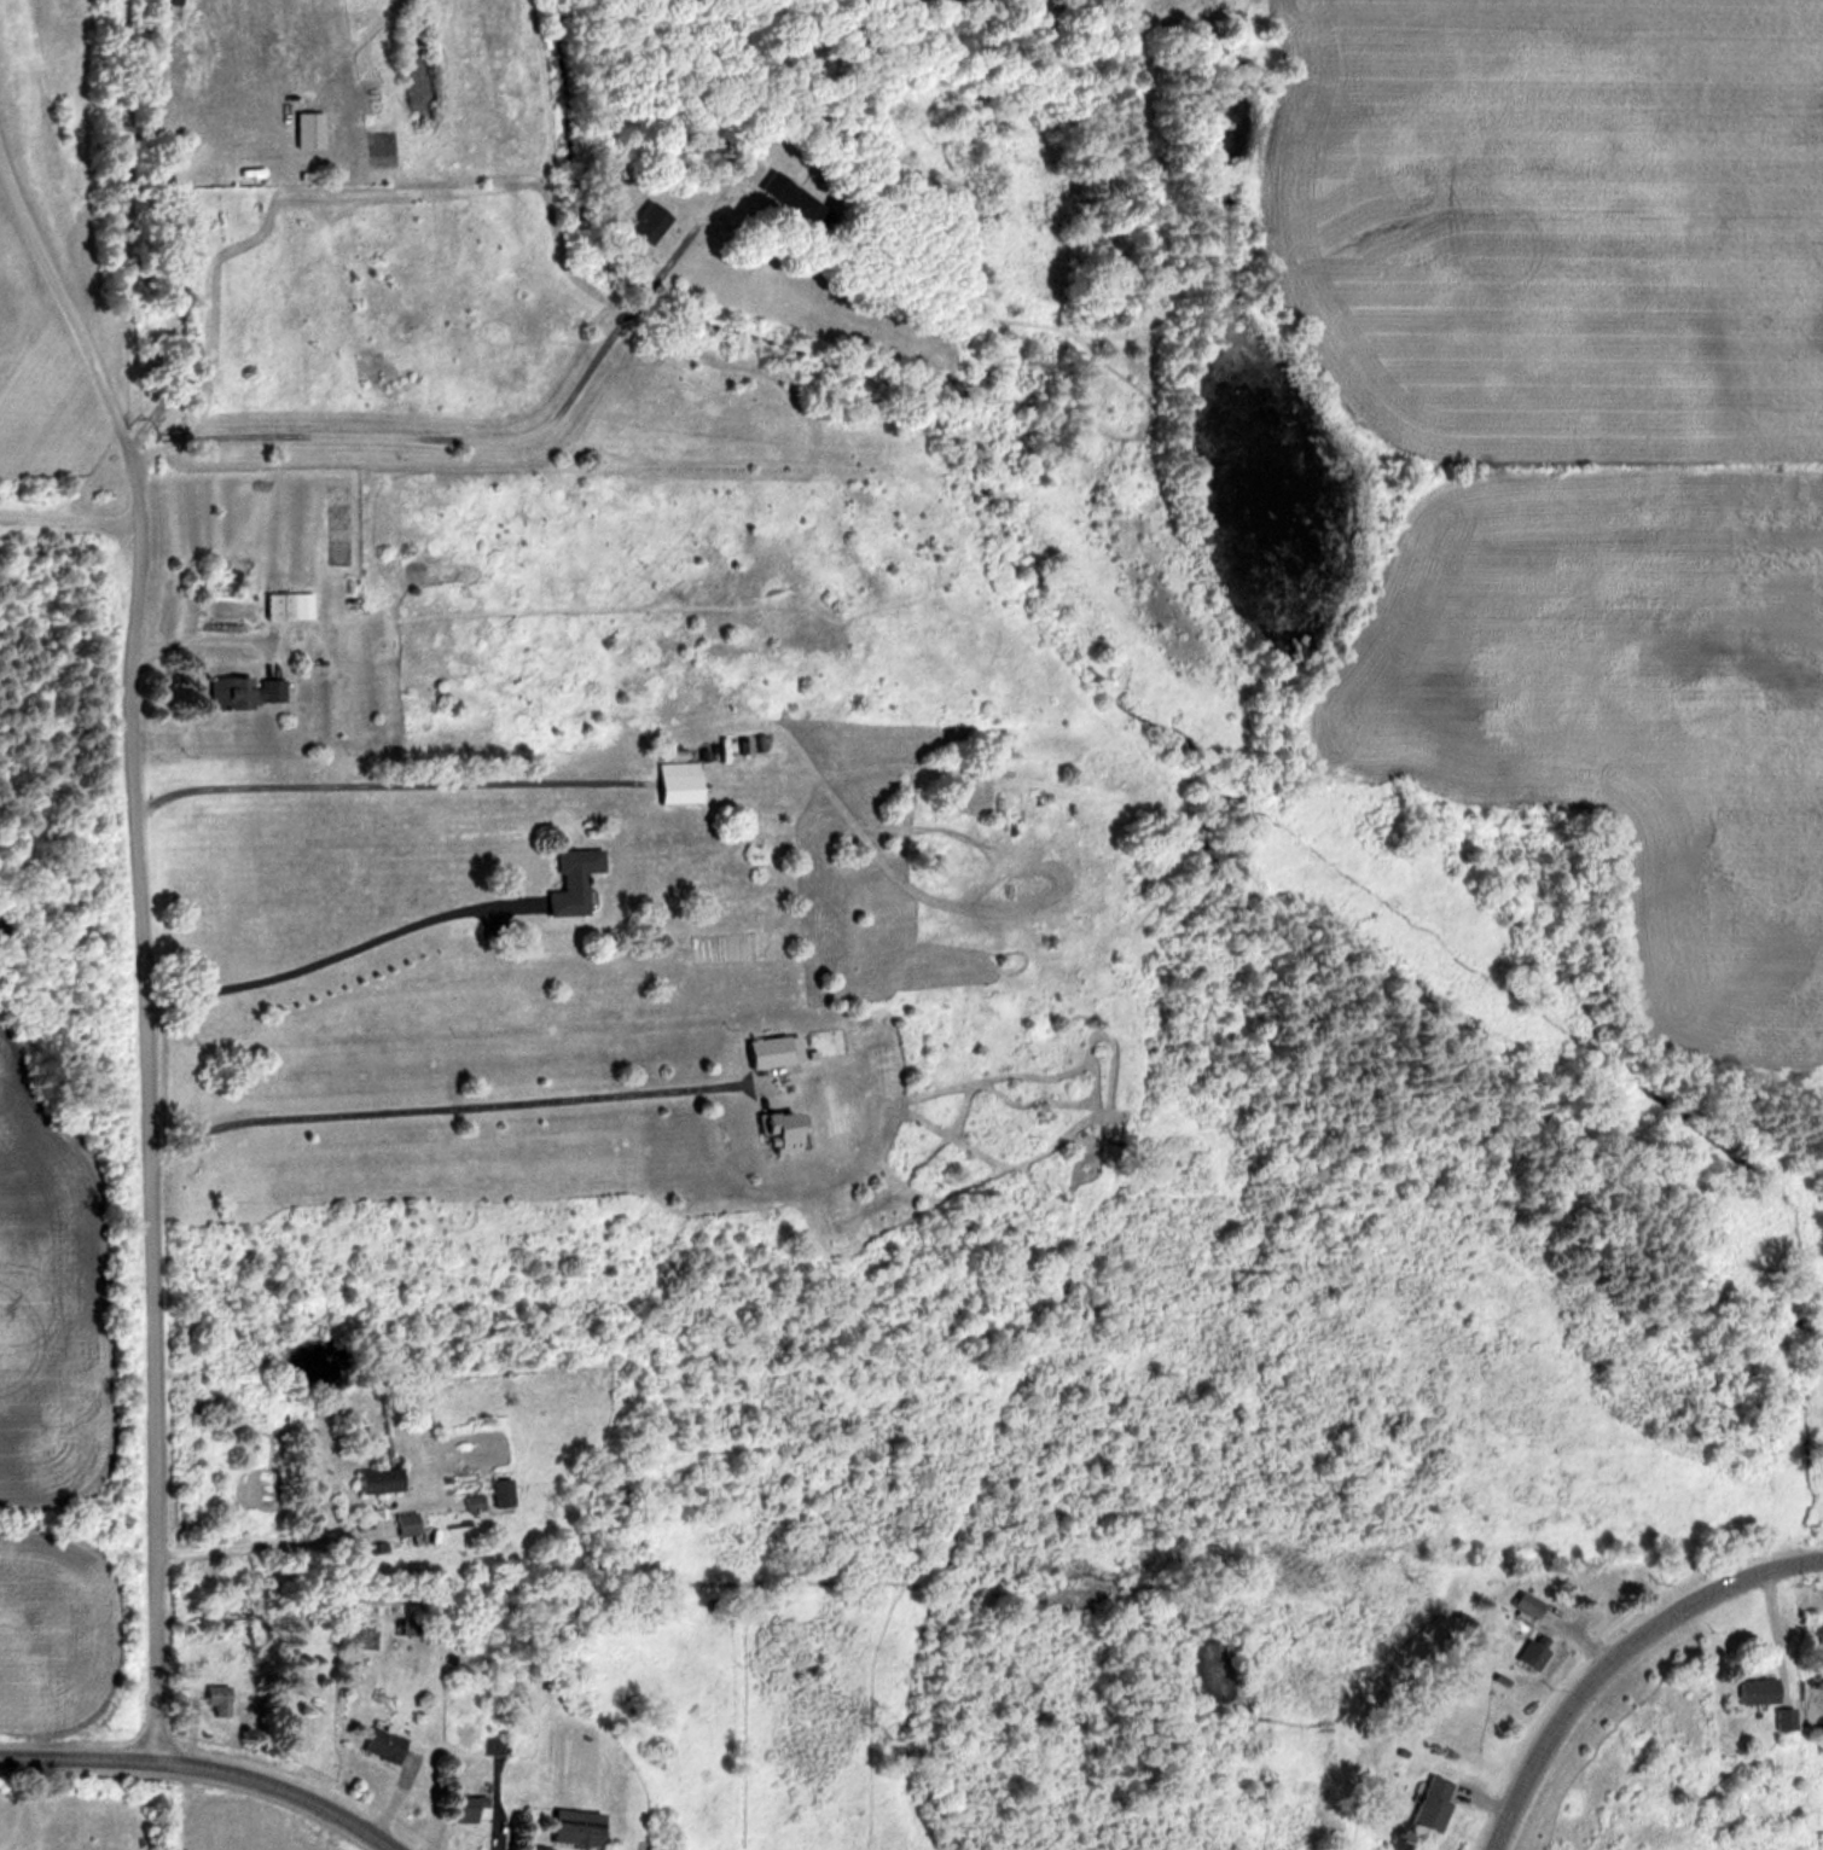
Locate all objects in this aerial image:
building: (641, 215)
road: (68, 315)
road: (400, 435)
building: (277, 605)
building: (237, 691)
building: (673, 781)
building: (568, 879)
road: (336, 950)
building: (765, 1049)
road: (440, 1106)
road: (149, 1110)
building: (767, 1131)
building: (367, 1479)
building: (498, 1491)
building: (468, 1501)
building: (399, 1522)
road: (268, 1540)
building: (1522, 1602)
building: (1527, 1650)
road: (1614, 1651)
building: (1749, 1691)
building: (215, 1697)
building: (1780, 1717)
building: (376, 1745)
building: (489, 1746)
road: (213, 1763)
building: (1426, 1803)
building: (461, 1809)
building: (569, 1827)
building: (532, 1849)

